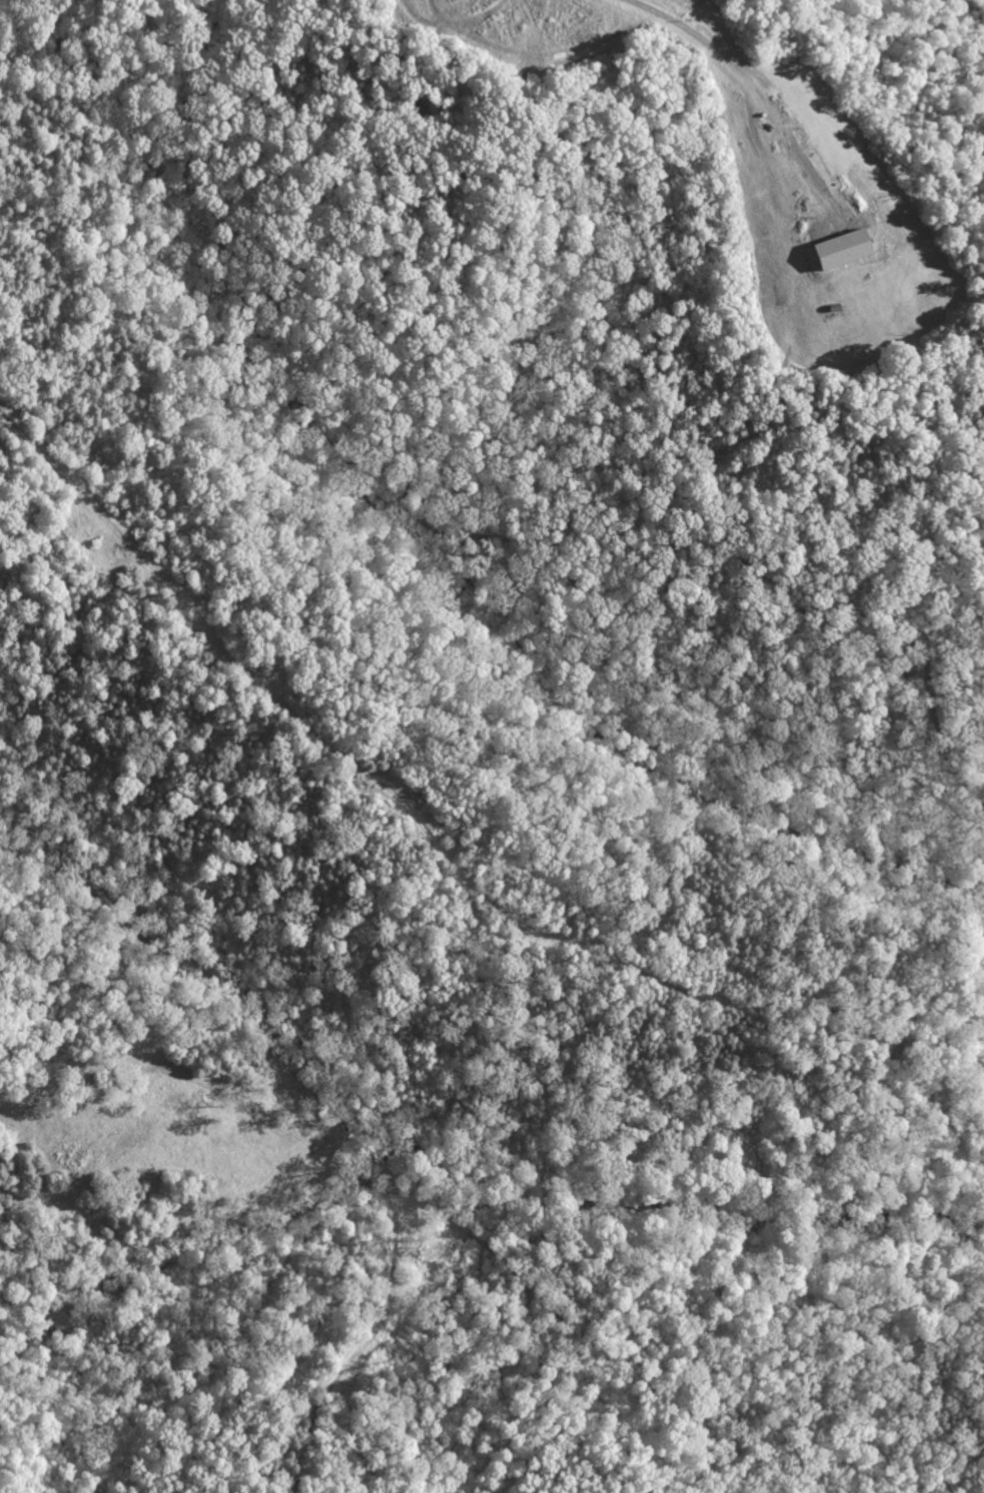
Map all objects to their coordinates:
road: (698, 41)

